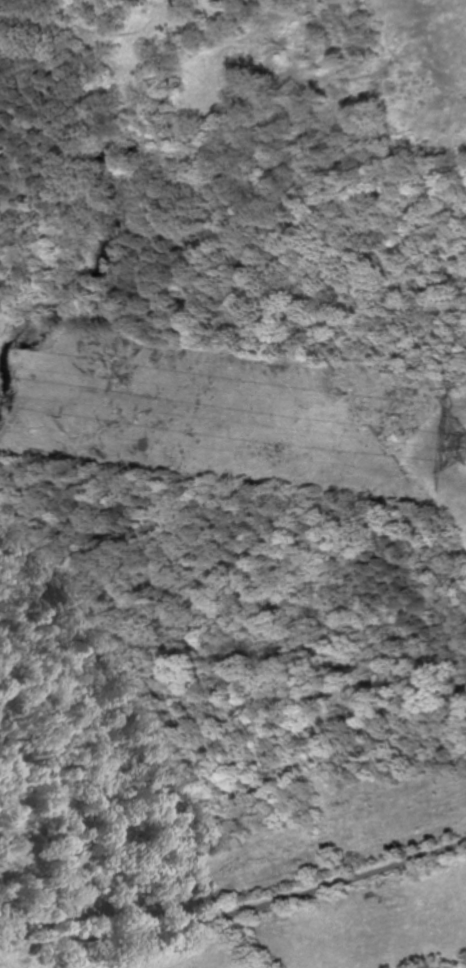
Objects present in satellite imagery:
road: (236, 916)

